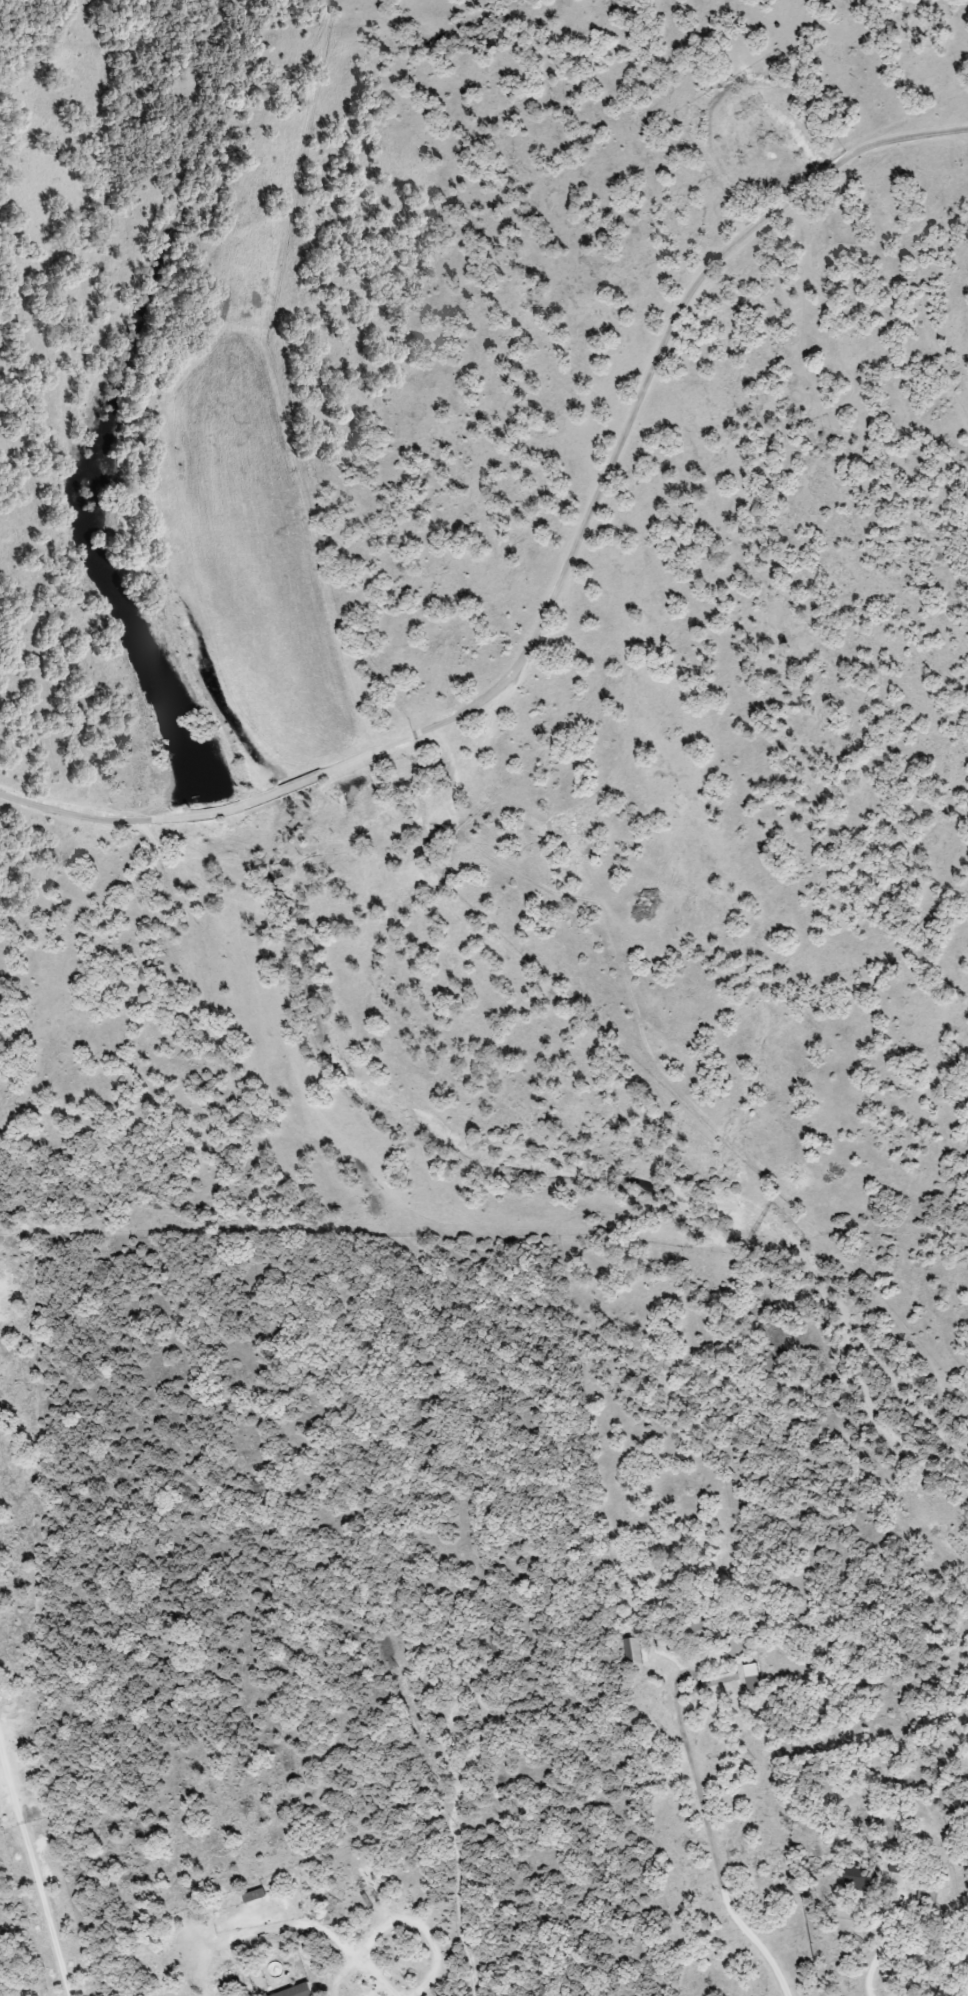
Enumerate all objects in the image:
road: (558, 586)
building: (632, 1652)
building: (752, 1679)
road: (709, 1829)
road: (34, 1875)
building: (862, 1879)
building: (926, 1898)
road: (878, 1954)
building: (297, 1991)

